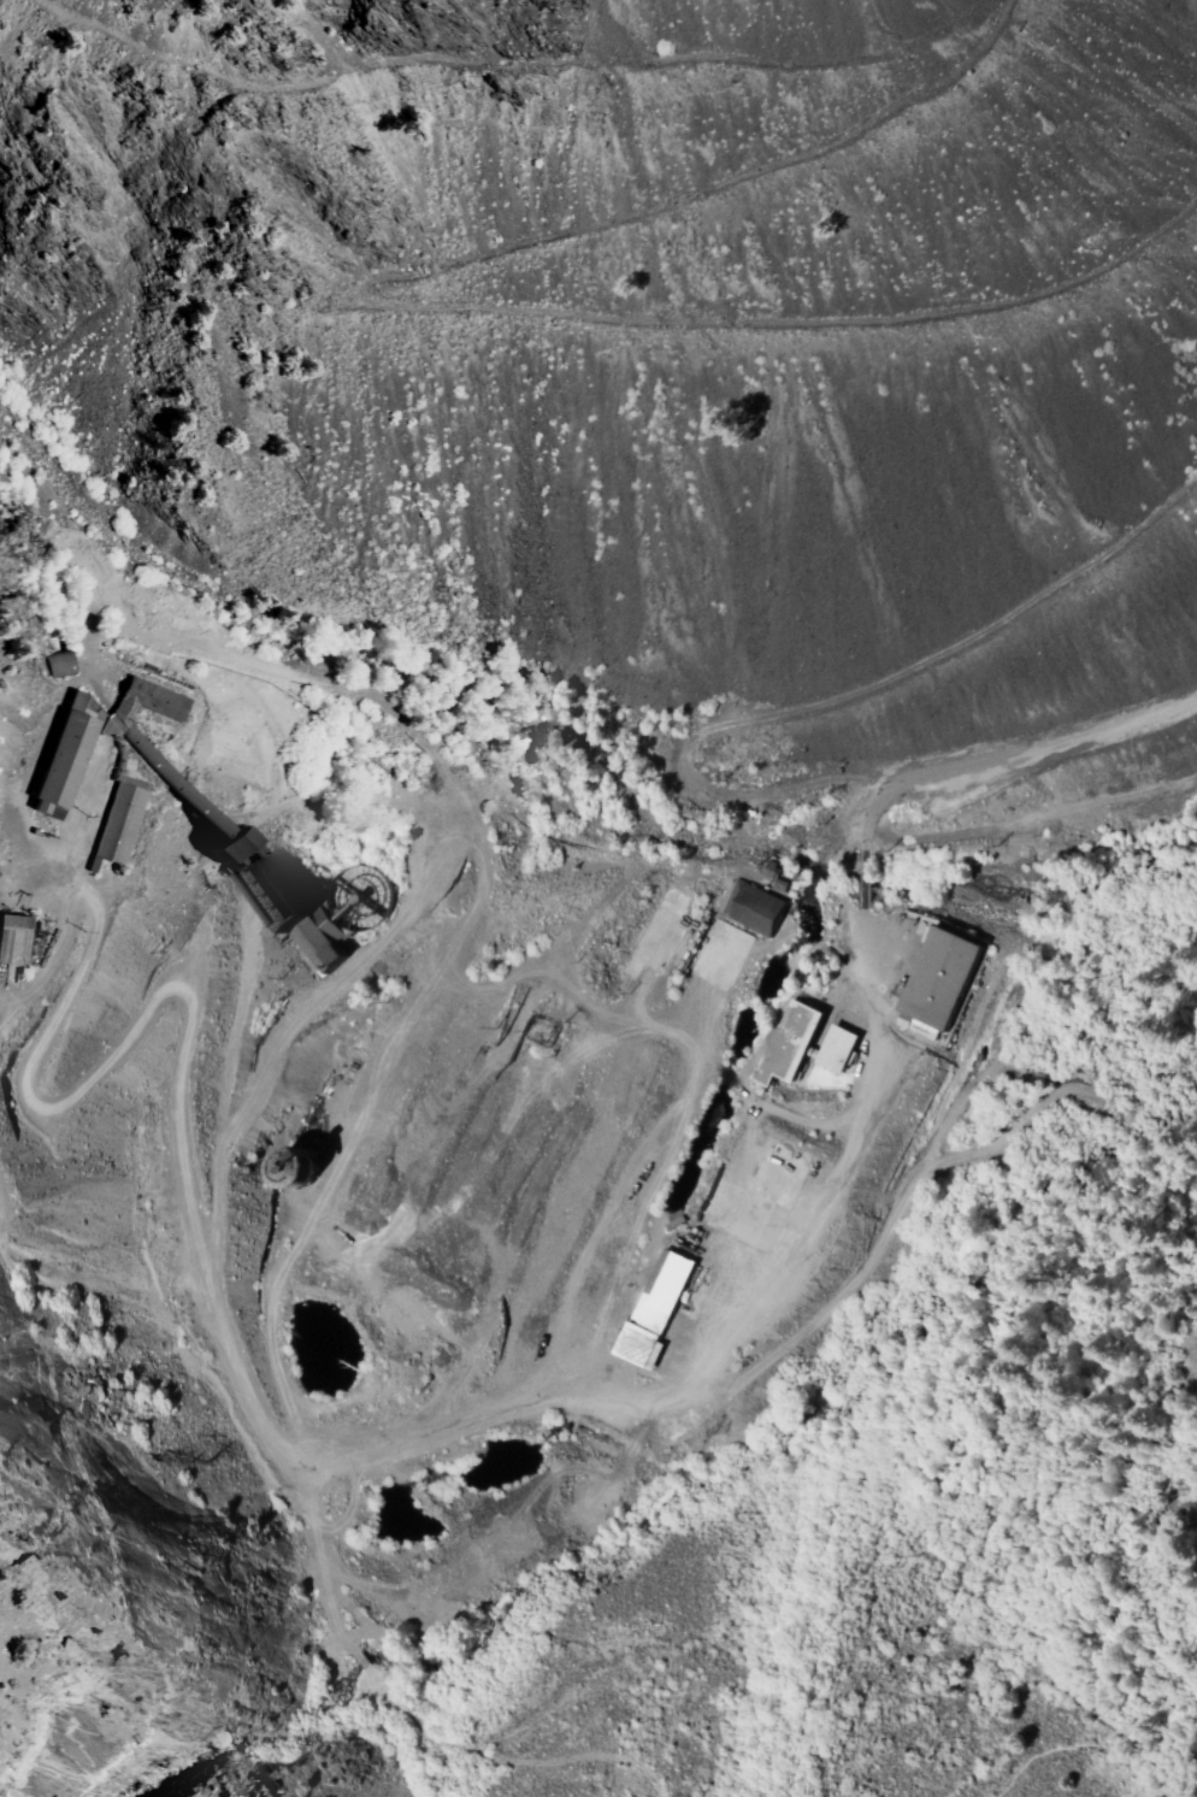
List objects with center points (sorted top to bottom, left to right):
road: (508, 66)
road: (429, 307)
building: (146, 691)
road: (835, 700)
building: (55, 755)
road: (1013, 756)
building: (111, 819)
road: (1034, 820)
road: (17, 873)
road: (867, 877)
building: (353, 897)
building: (747, 911)
building: (314, 933)
building: (11, 935)
road: (450, 955)
building: (937, 971)
road: (871, 976)
building: (782, 1044)
building: (831, 1047)
road: (647, 1225)
building: (660, 1289)
road: (223, 1335)
building: (635, 1345)
road: (1062, 1565)
road: (373, 1718)

